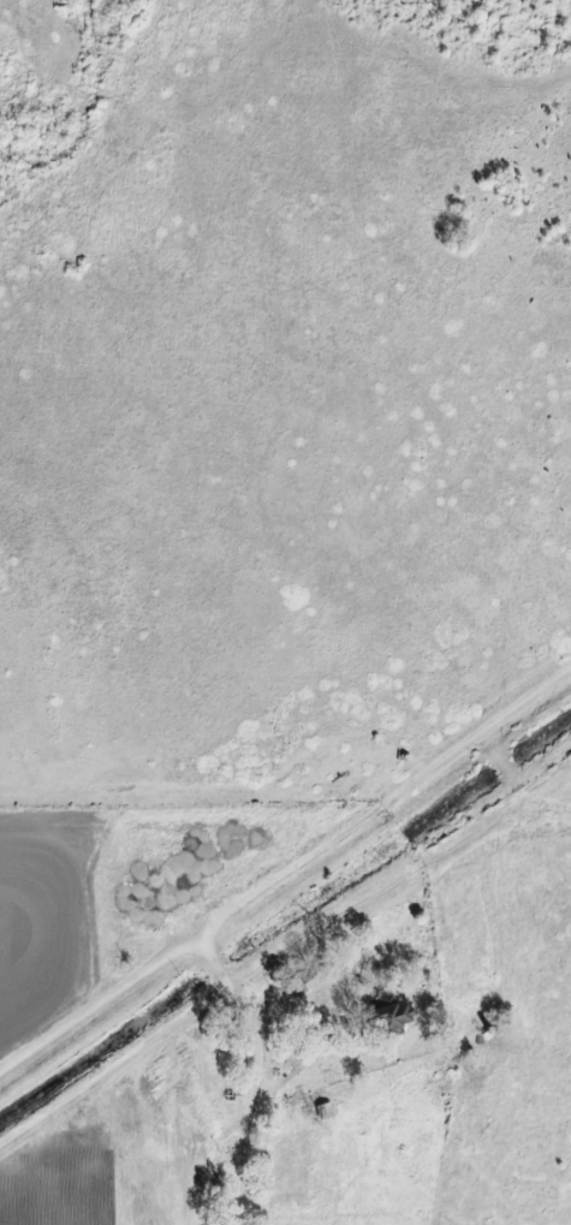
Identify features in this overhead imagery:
road: (385, 803)
road: (99, 1006)
road: (260, 1074)
road: (282, 1098)

